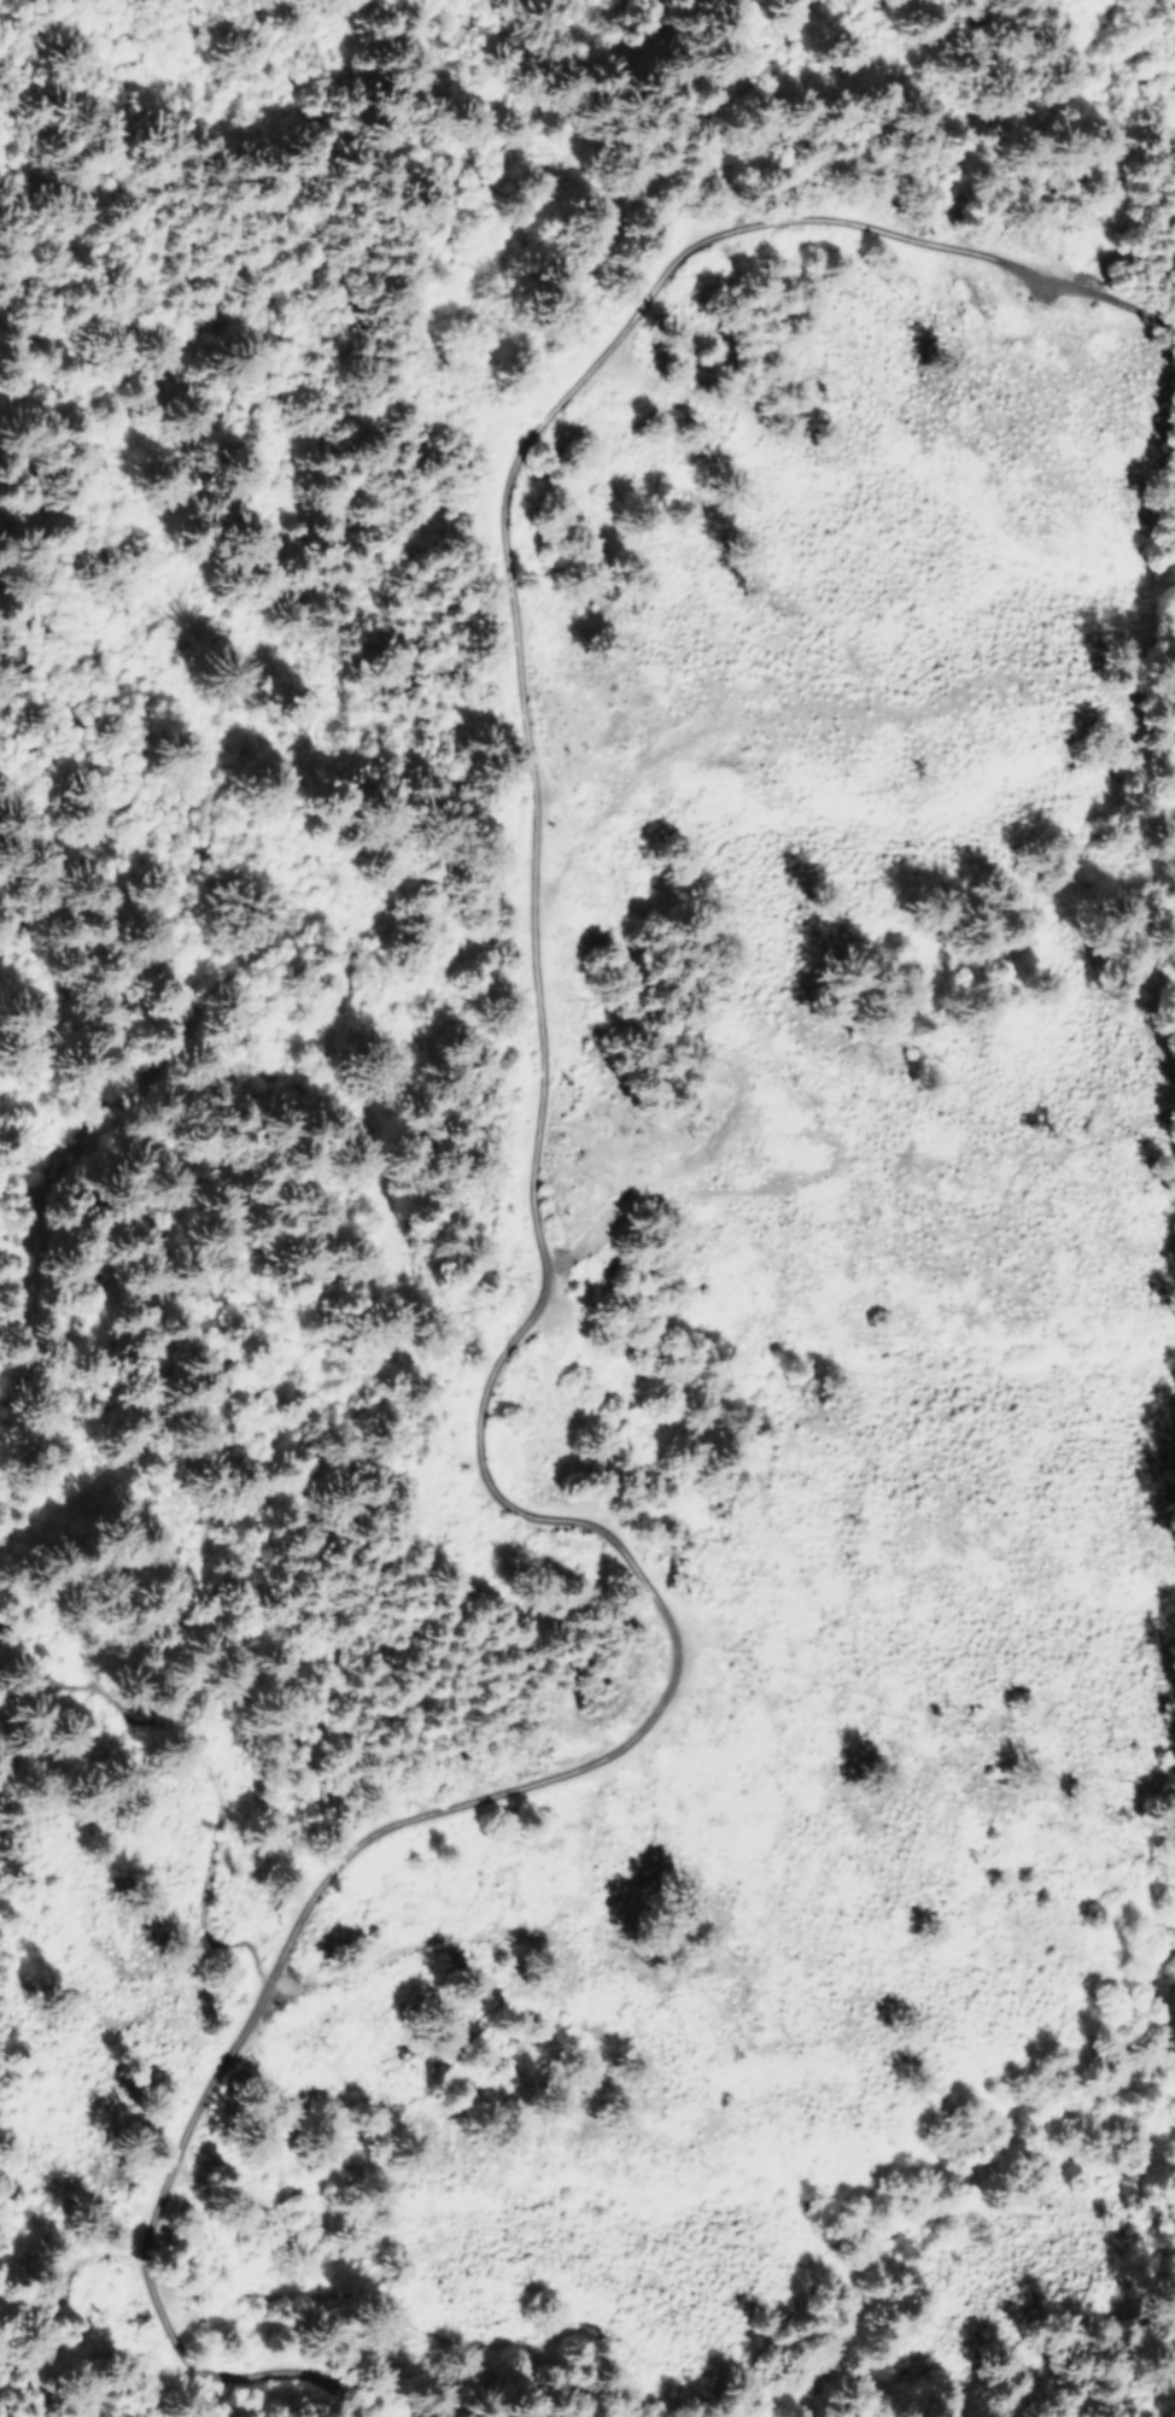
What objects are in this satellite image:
road: (507, 476)
road: (280, 926)
road: (893, 1178)
road: (194, 1769)
road: (422, 1814)

